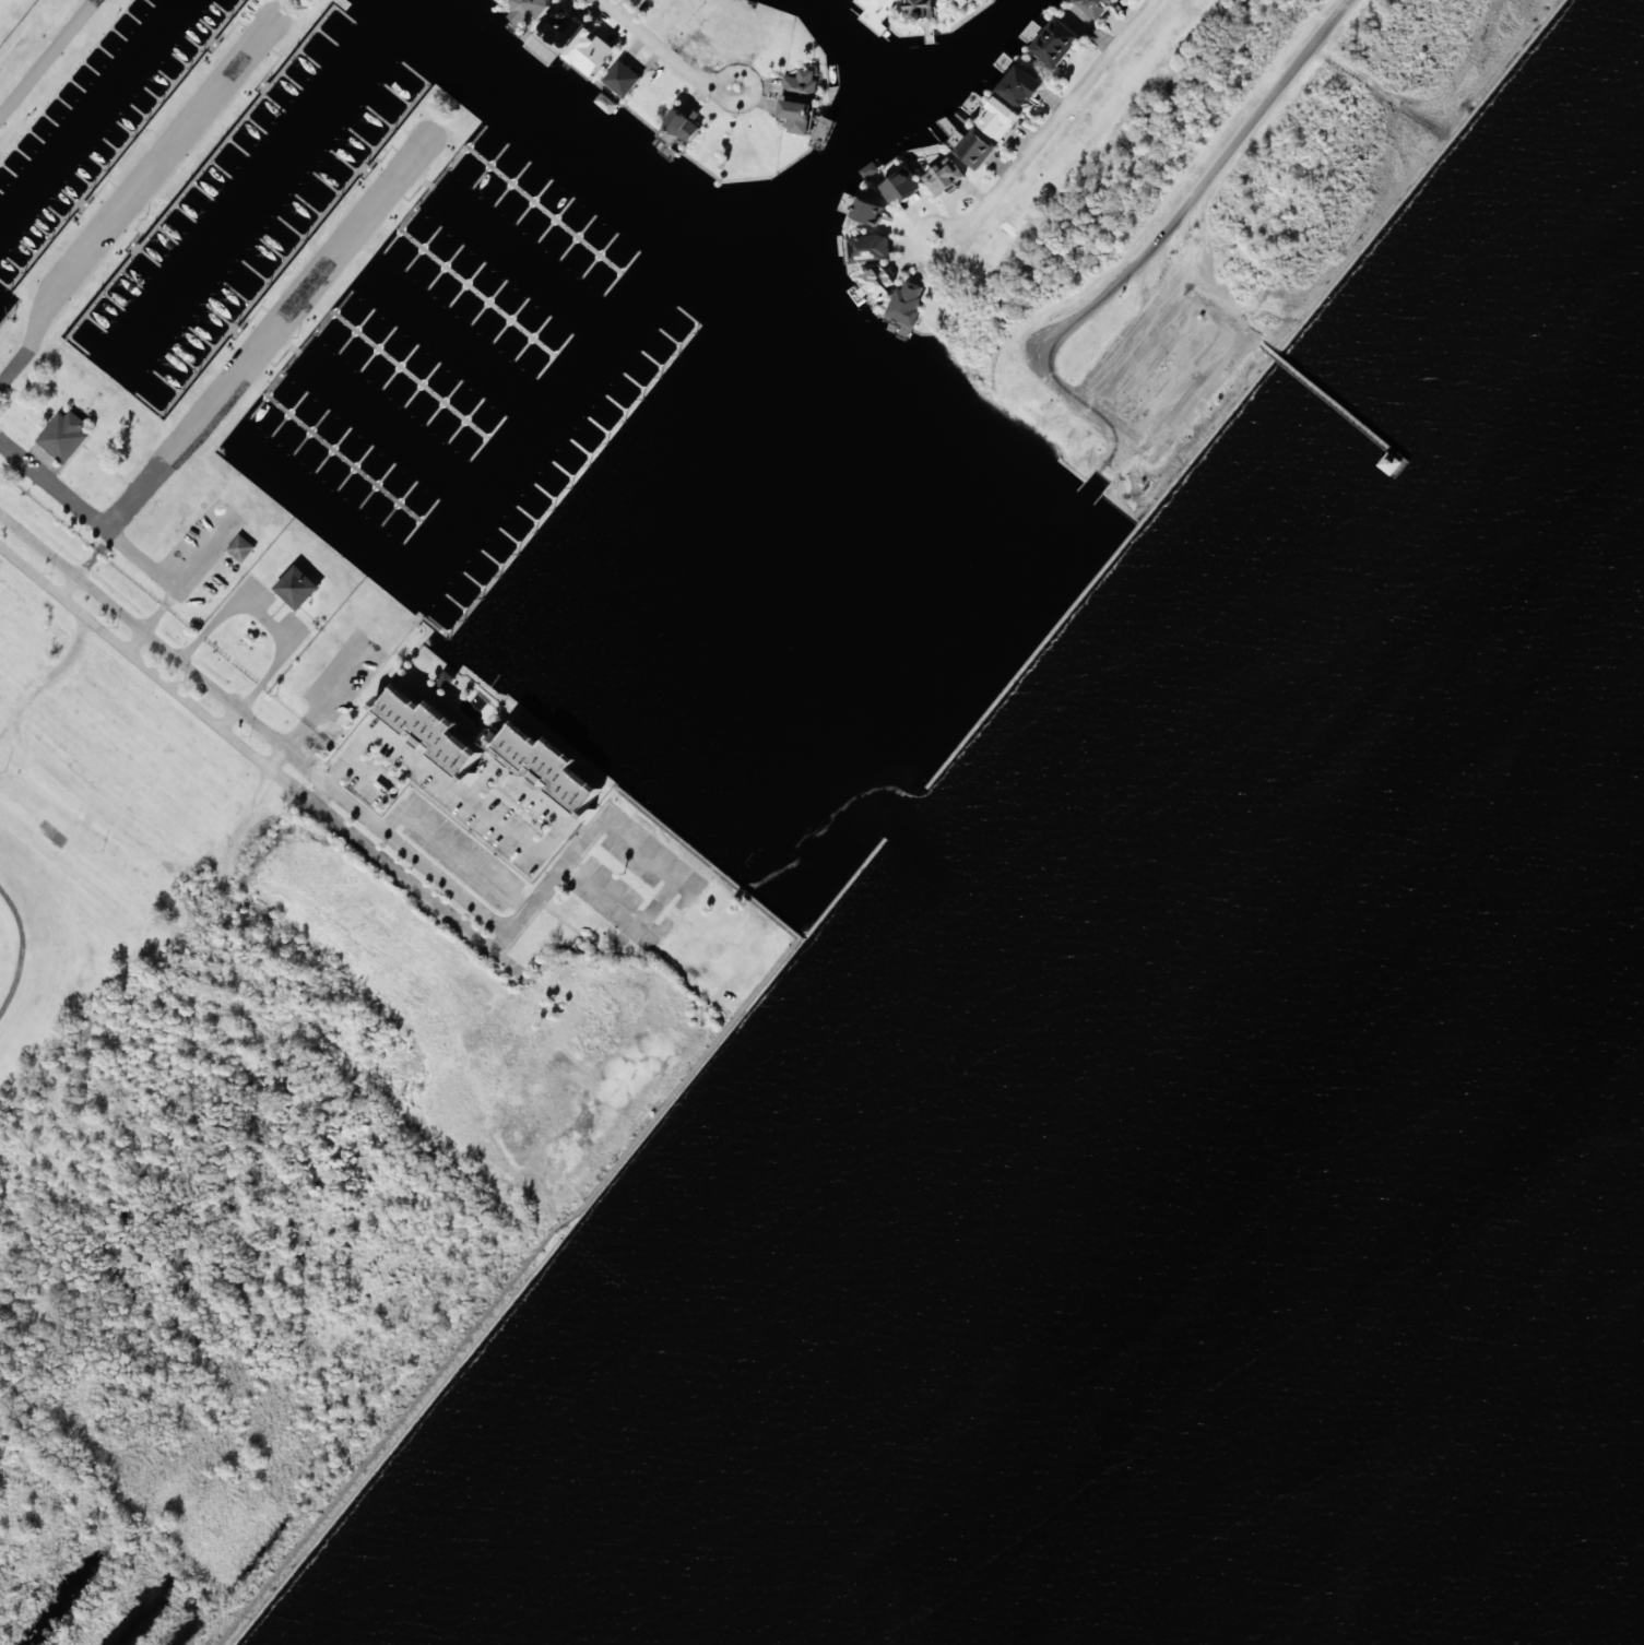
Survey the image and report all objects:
building: (652, 0)
building: (883, 2)
building: (965, 2)
building: (530, 10)
building: (921, 11)
building: (1056, 43)
road: (665, 48)
building: (592, 51)
building: (624, 79)
road: (657, 84)
building: (1024, 86)
building: (800, 100)
building: (1000, 118)
building: (683, 126)
building: (953, 132)
road: (1046, 134)
building: (975, 149)
road: (127, 175)
building: (945, 176)
building: (902, 186)
road: (1199, 190)
road: (933, 210)
building: (870, 247)
building: (879, 281)
building: (908, 303)
road: (970, 333)
road: (215, 362)
building: (64, 436)
building: (241, 548)
building: (298, 587)
road: (447, 714)
building: (430, 731)
building: (549, 767)
road: (557, 877)
road: (510, 937)
road: (23, 949)

